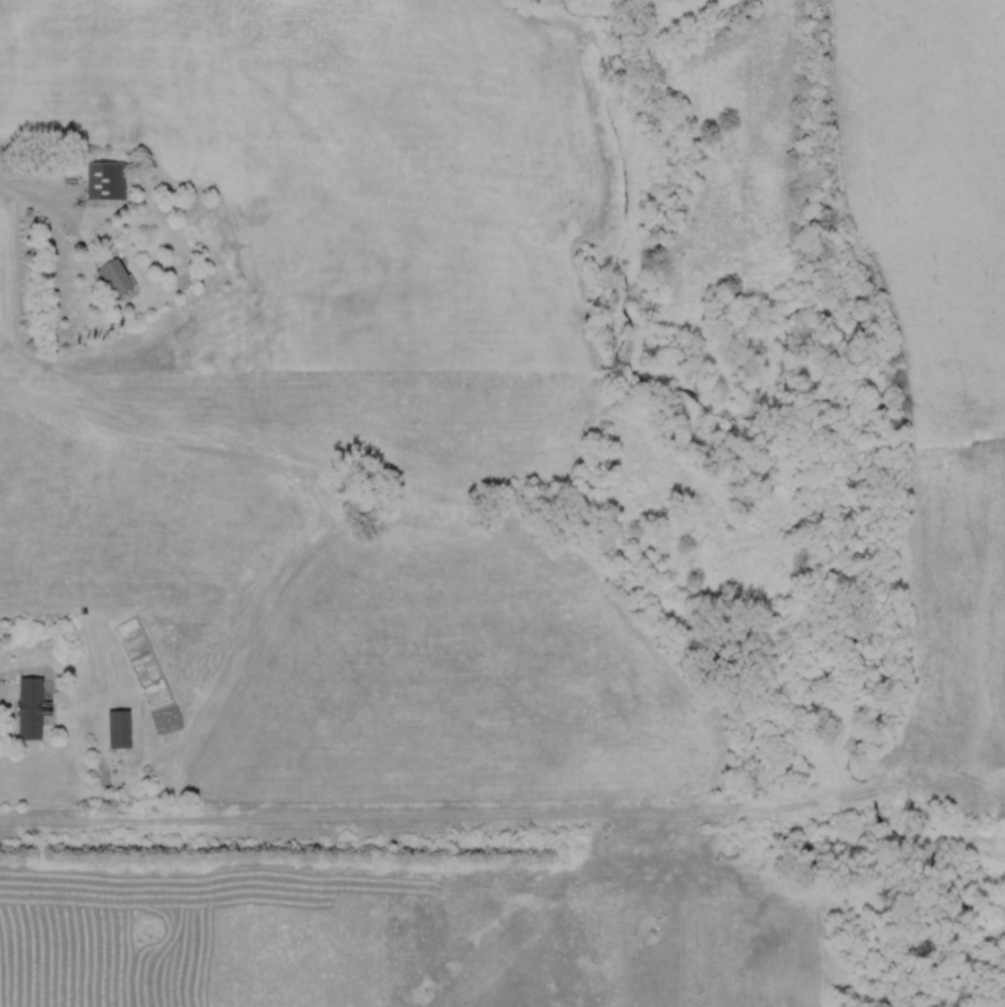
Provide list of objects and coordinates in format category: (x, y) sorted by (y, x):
building: (105, 180)
road: (35, 192)
building: (113, 277)
building: (29, 707)
building: (118, 729)

